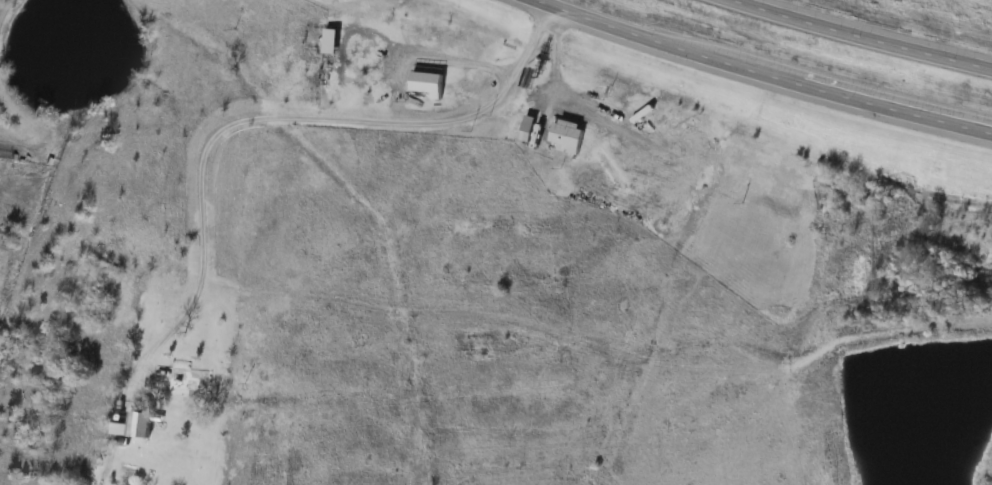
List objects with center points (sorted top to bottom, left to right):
road: (872, 33)
road: (764, 69)
road: (261, 116)
building: (522, 132)
building: (563, 136)
building: (179, 379)
road: (113, 446)

